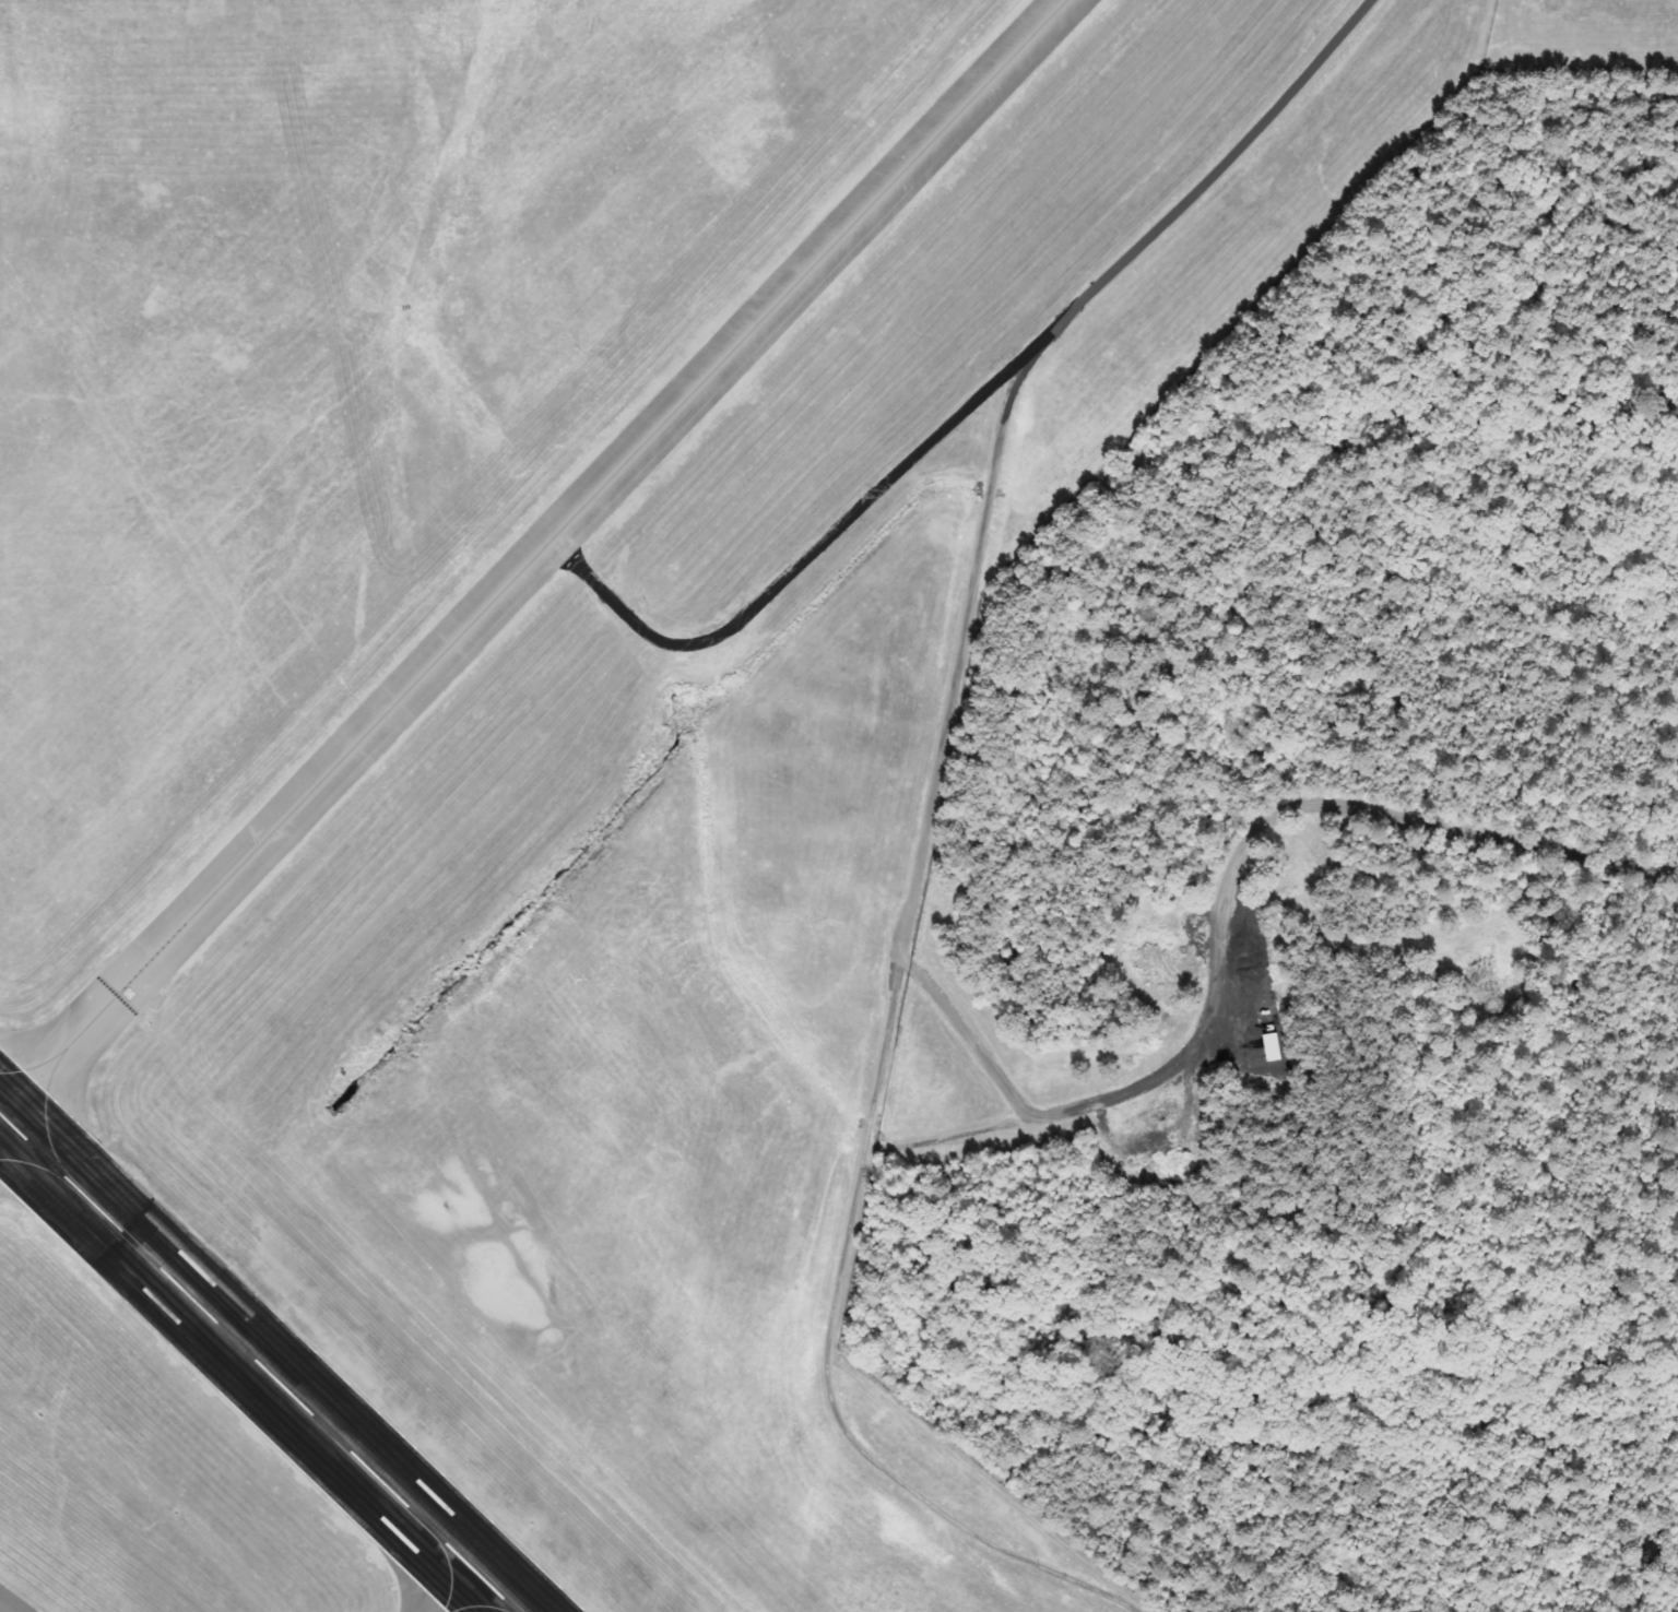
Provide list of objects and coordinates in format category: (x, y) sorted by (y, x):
airport taxiway: (532, 559)
airport: (552, 734)
road: (924, 830)
road: (1229, 879)
airport taxiway: (1, 1119)
airport runway: (253, 1364)
airport taxiway: (465, 1598)

